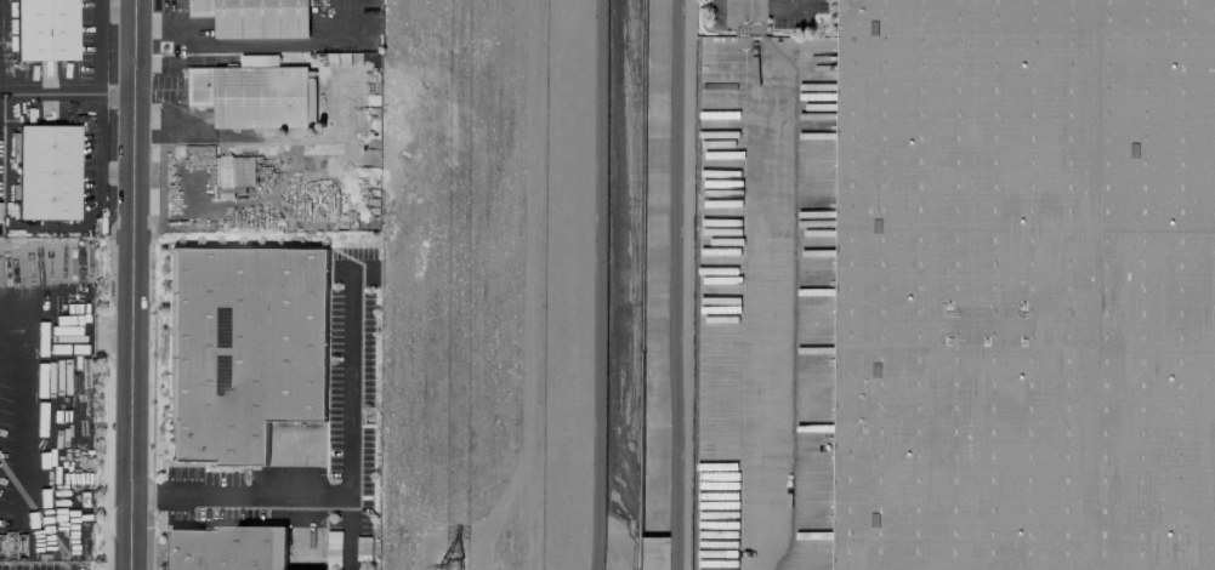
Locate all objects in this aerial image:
road: (780, 6)
building: (259, 18)
building: (50, 29)
road: (260, 42)
road: (2, 46)
road: (96, 46)
building: (256, 98)
road: (97, 108)
building: (52, 173)
road: (136, 284)
road: (755, 285)
building: (1024, 285)
road: (67, 334)
building: (248, 353)
road: (345, 481)
road: (346, 528)
building: (231, 553)

